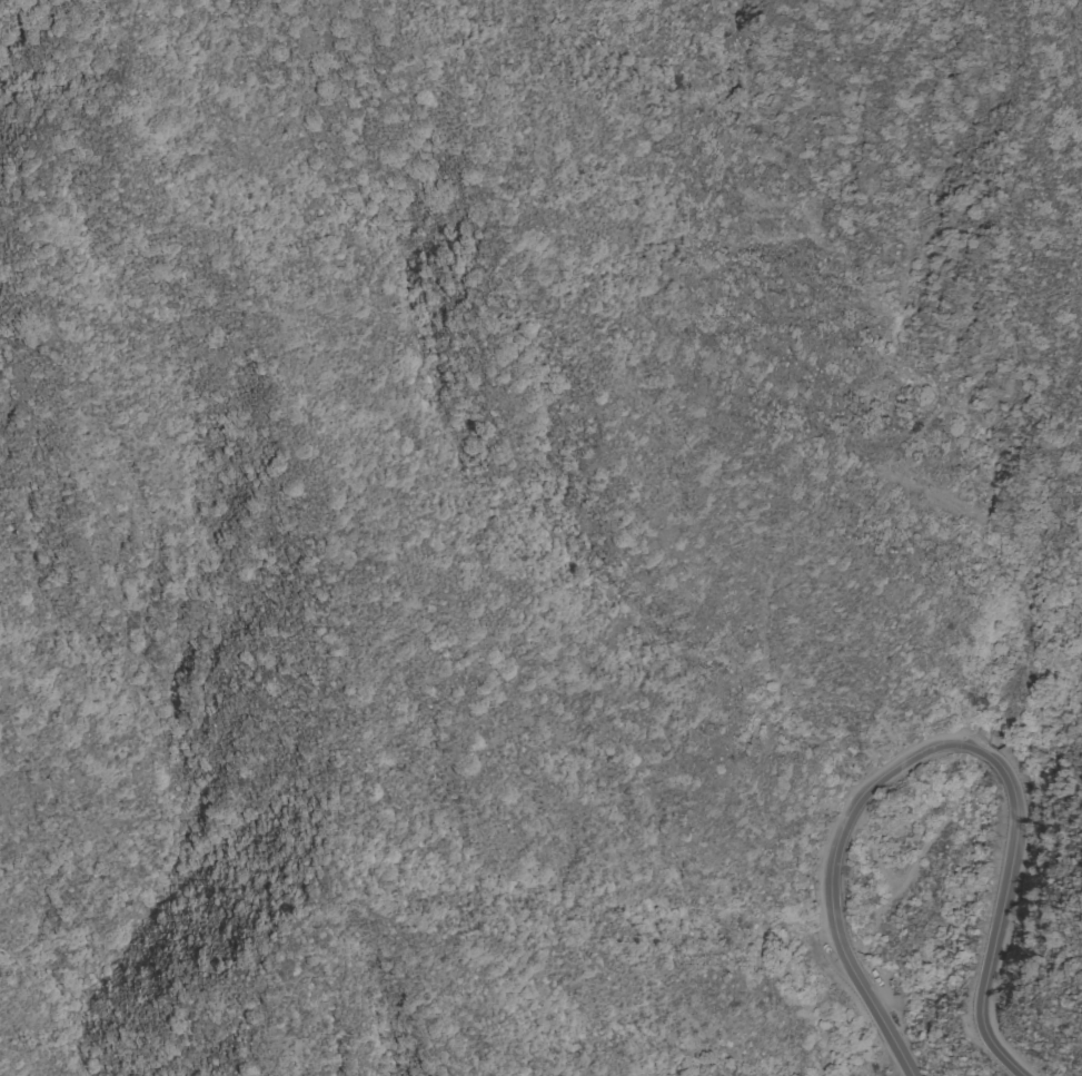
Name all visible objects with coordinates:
road: (941, 747)

